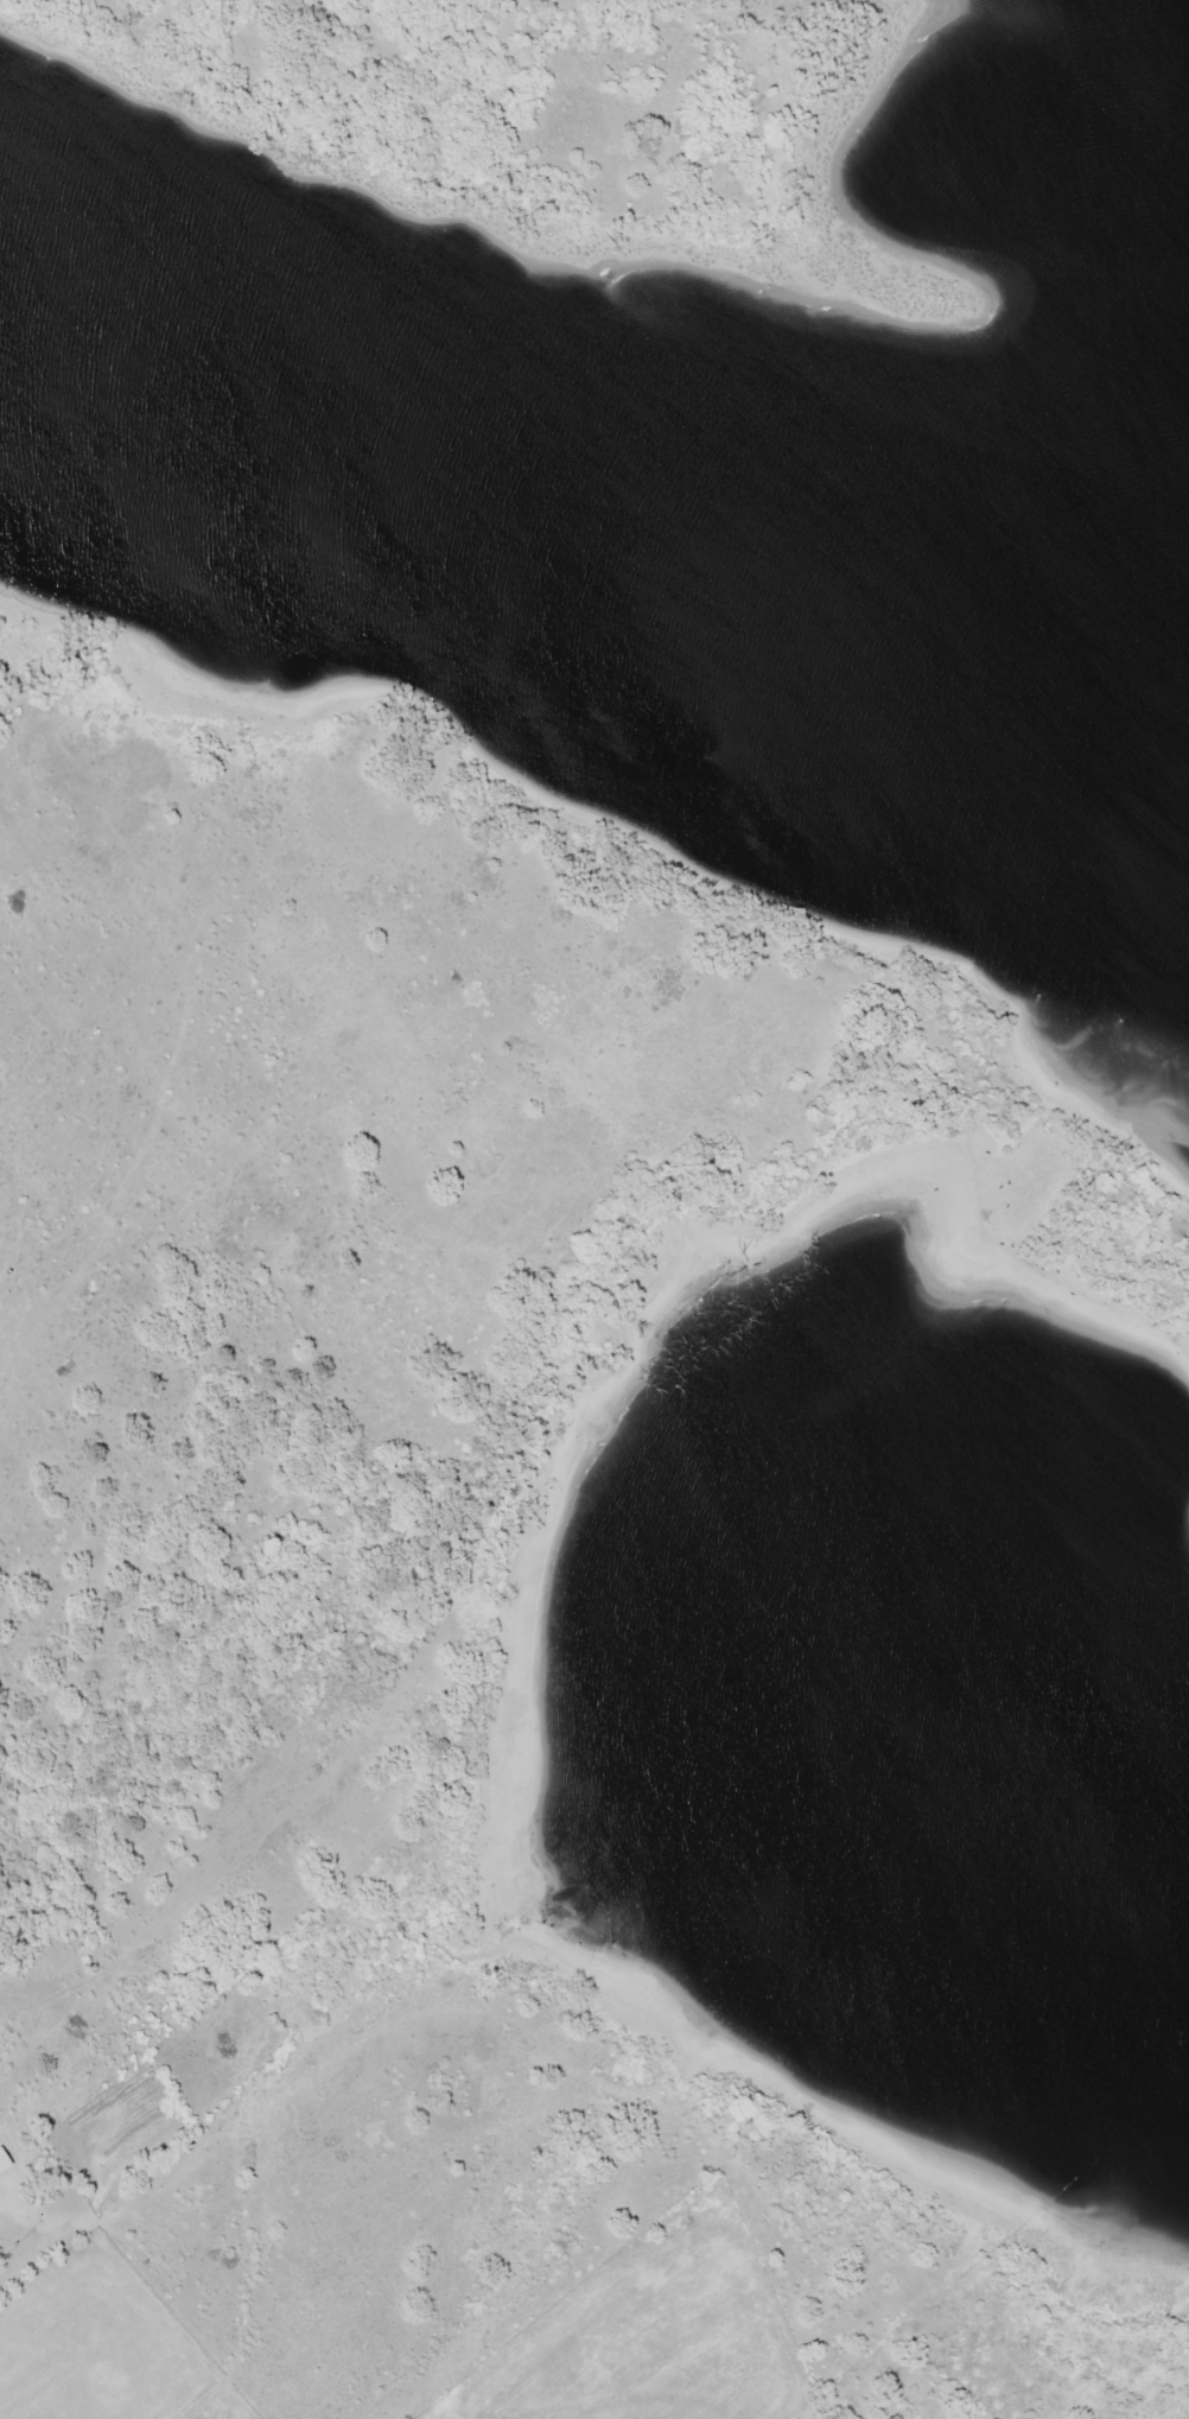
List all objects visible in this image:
river: (610, 502)
building: (33, 2155)
building: (2, 2160)

